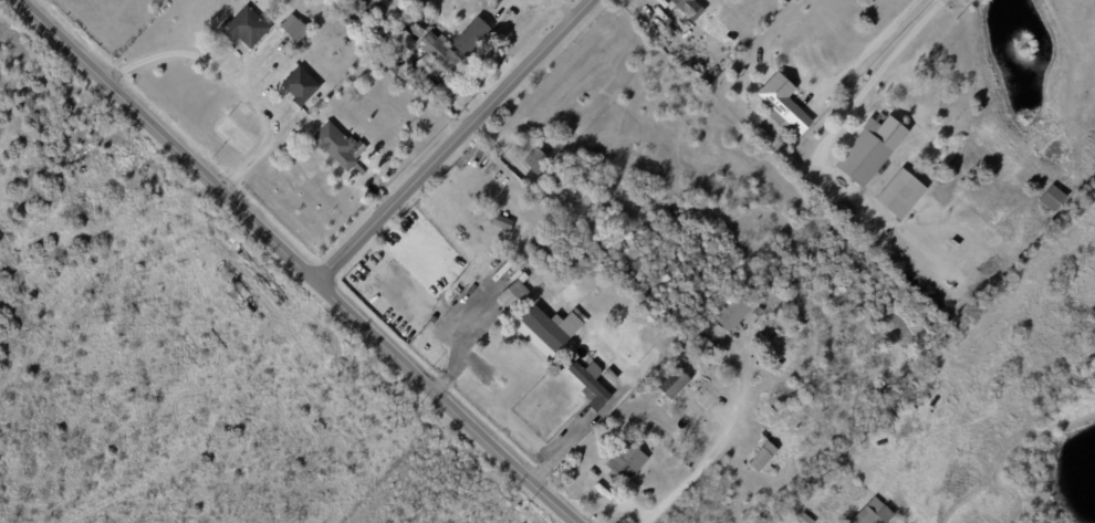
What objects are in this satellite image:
building: (688, 8)
building: (366, 9)
building: (242, 28)
building: (665, 28)
building: (295, 30)
building: (471, 36)
building: (404, 39)
road: (869, 45)
building: (430, 57)
building: (407, 67)
building: (396, 72)
road: (227, 81)
building: (300, 86)
building: (779, 100)
road: (844, 116)
road: (453, 140)
building: (338, 148)
building: (870, 149)
building: (535, 160)
building: (547, 174)
building: (900, 195)
building: (1054, 198)
building: (842, 210)
building: (500, 222)
building: (230, 242)
road: (295, 262)
building: (522, 278)
building: (512, 295)
building: (734, 311)
building: (651, 318)
building: (544, 324)
building: (674, 381)
building: (588, 384)
building: (903, 396)
building: (773, 410)
road: (564, 447)
building: (762, 457)
building: (625, 461)
building: (469, 470)
road: (697, 470)
building: (806, 493)
building: (873, 513)
building: (804, 519)

